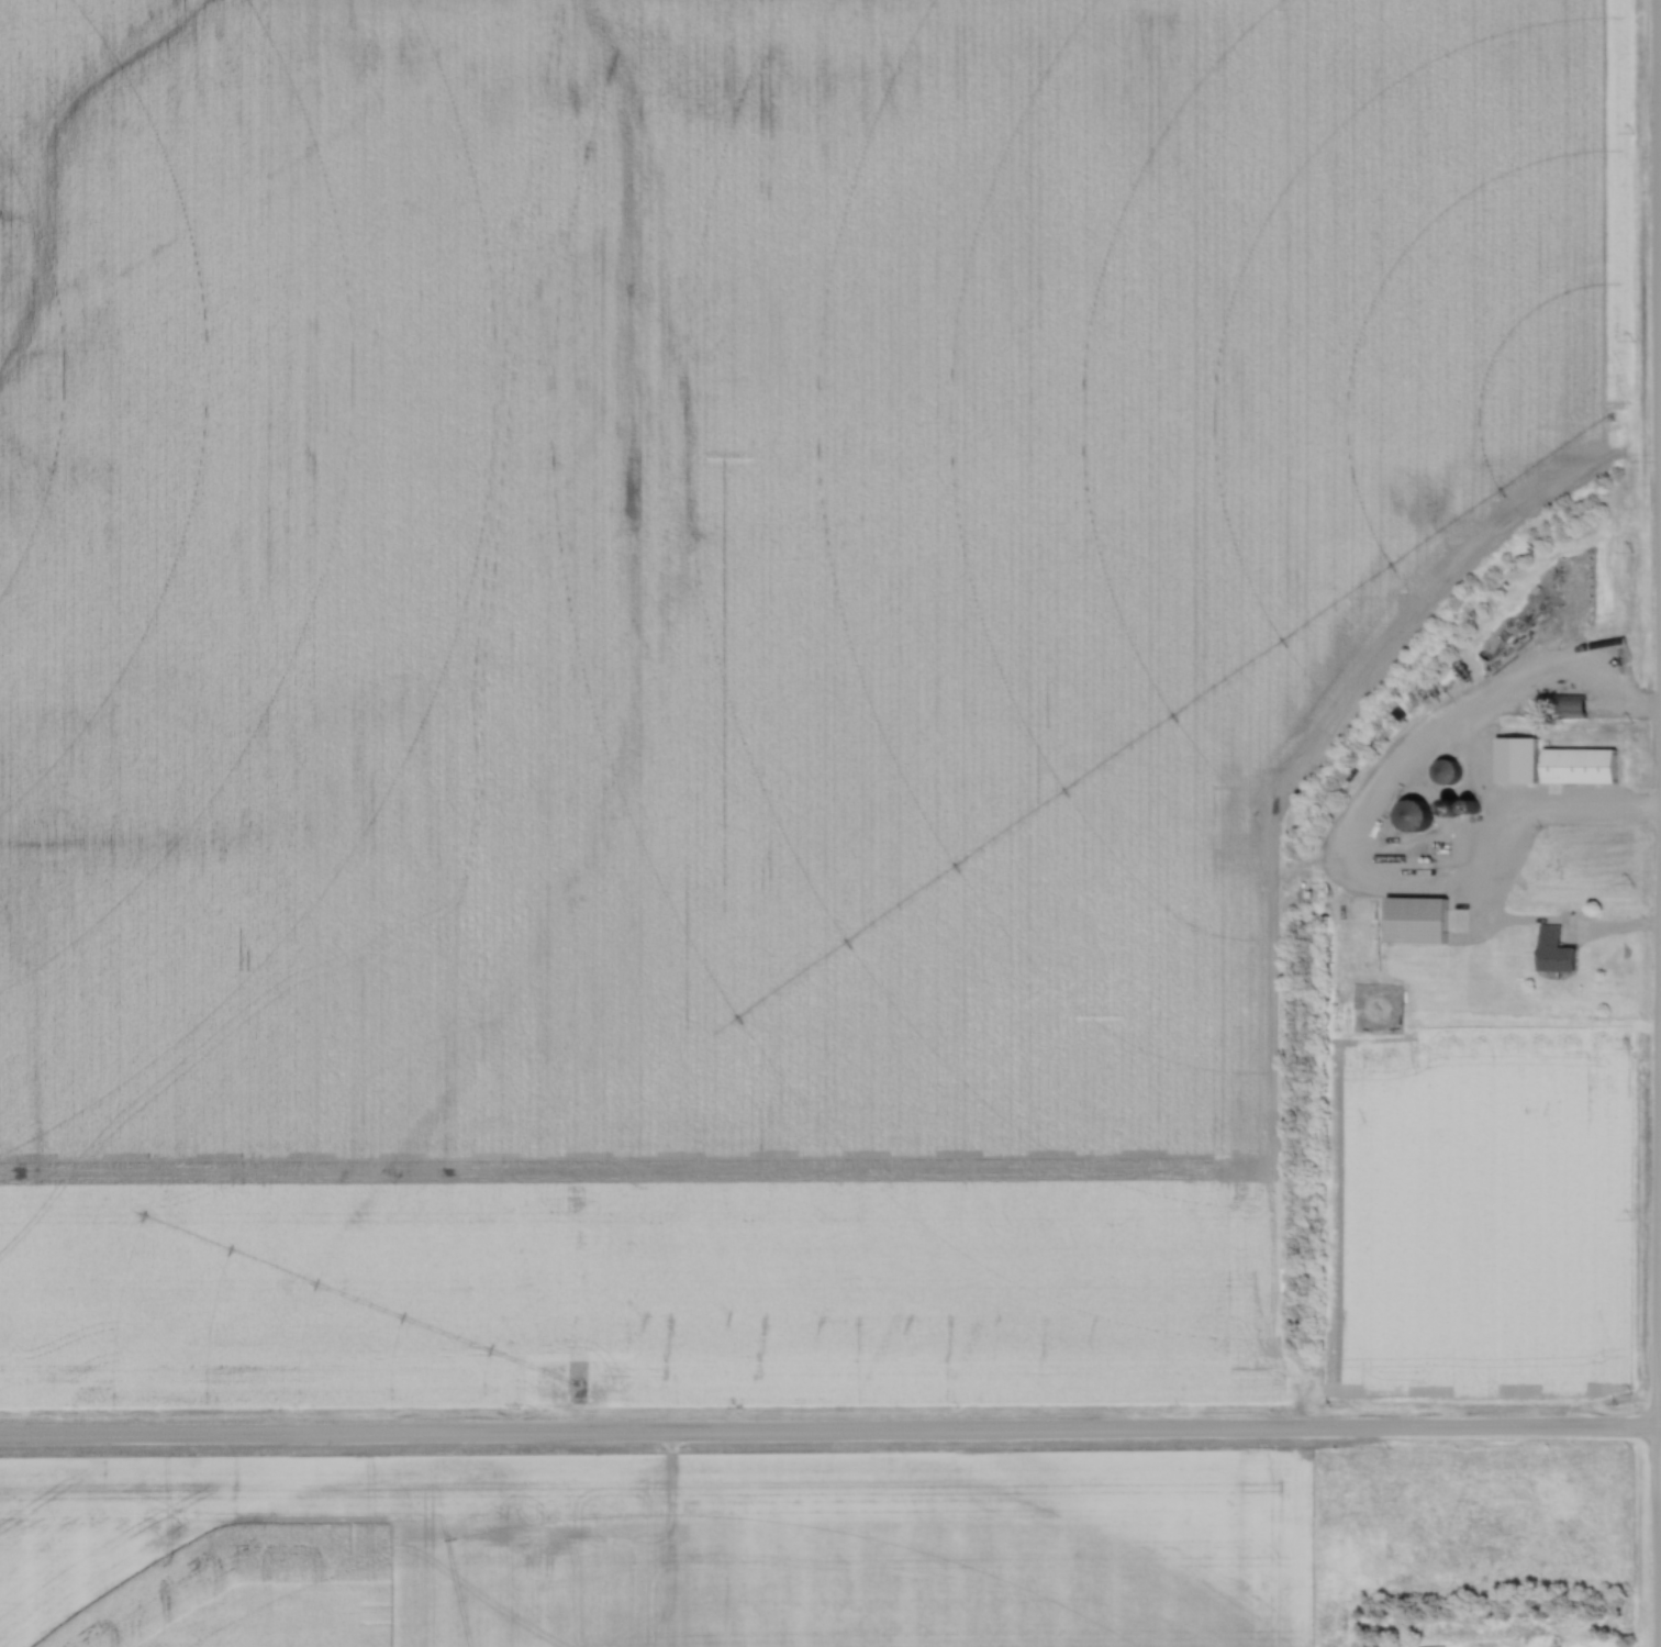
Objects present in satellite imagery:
road: (1660, 187)
building: (1568, 704)
building: (1515, 759)
building: (1578, 765)
building: (1446, 770)
building: (1412, 814)
road: (1363, 822)
building: (1415, 921)
building: (1553, 950)
road: (1654, 1288)
road: (830, 1432)
building: (1430, 1646)

